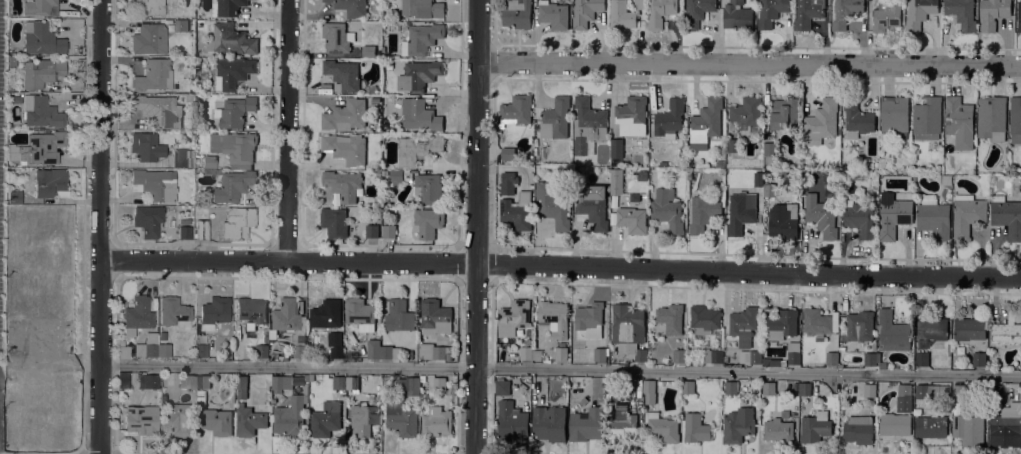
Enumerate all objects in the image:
building: (639, 3)
building: (149, 6)
building: (351, 6)
building: (40, 7)
building: (227, 7)
building: (423, 8)
building: (697, 11)
building: (771, 11)
building: (585, 12)
building: (660, 12)
building: (845, 12)
building: (918, 12)
building: (517, 13)
building: (807, 13)
building: (962, 13)
building: (992, 13)
building: (553, 14)
building: (621, 15)
building: (737, 15)
building: (886, 15)
building: (1019, 16)
building: (181, 25)
building: (337, 37)
building: (42, 38)
building: (421, 38)
building: (149, 39)
building: (231, 39)
road: (737, 46)
building: (368, 51)
building: (12, 61)
building: (197, 65)
road: (749, 65)
building: (233, 71)
building: (41, 72)
building: (342, 74)
building: (418, 74)
building: (154, 75)
building: (371, 89)
road: (493, 92)
building: (190, 97)
building: (53, 98)
building: (375, 99)
building: (516, 109)
building: (158, 110)
building: (41, 111)
building: (234, 111)
building: (746, 113)
building: (785, 113)
building: (345, 115)
building: (421, 115)
building: (631, 115)
building: (894, 115)
building: (927, 117)
building: (992, 117)
building: (555, 118)
building: (669, 119)
building: (857, 119)
building: (1015, 119)
building: (959, 121)
building: (821, 122)
building: (705, 123)
building: (588, 124)
road: (287, 131)
building: (733, 144)
building: (147, 146)
building: (235, 147)
building: (346, 147)
building: (616, 147)
building: (37, 148)
building: (417, 148)
building: (769, 152)
building: (508, 153)
building: (183, 158)
building: (209, 160)
building: (663, 163)
building: (805, 163)
building: (851, 163)
building: (730, 172)
building: (642, 175)
building: (399, 176)
building: (758, 178)
building: (616, 180)
building: (50, 181)
building: (530, 181)
building: (508, 182)
building: (154, 183)
building: (342, 184)
building: (233, 185)
building: (429, 188)
building: (769, 189)
building: (15, 196)
building: (634, 197)
building: (552, 204)
building: (667, 209)
building: (593, 210)
building: (702, 213)
building: (516, 214)
building: (739, 214)
building: (894, 214)
building: (967, 214)
building: (821, 215)
building: (1007, 215)
building: (933, 217)
building: (859, 218)
building: (632, 219)
building: (148, 220)
building: (783, 220)
building: (184, 221)
building: (428, 221)
building: (238, 222)
building: (334, 222)
road: (476, 226)
road: (101, 227)
building: (201, 229)
building: (372, 230)
building: (389, 230)
building: (185, 232)
road: (950, 259)
road: (84, 265)
road: (561, 265)
road: (671, 286)
building: (300, 306)
building: (173, 310)
building: (251, 311)
building: (214, 312)
building: (138, 313)
building: (326, 313)
building: (360, 313)
building: (399, 315)
building: (589, 315)
building: (285, 316)
building: (435, 316)
building: (513, 317)
building: (554, 317)
building: (671, 317)
building: (704, 318)
building: (743, 321)
building: (819, 321)
building: (782, 324)
building: (860, 325)
building: (932, 328)
building: (969, 328)
building: (1007, 329)
building: (629, 330)
building: (266, 331)
building: (892, 331)
building: (163, 335)
building: (266, 338)
building: (528, 342)
building: (147, 346)
building: (373, 348)
building: (163, 350)
building: (201, 350)
building: (262, 350)
building: (299, 351)
building: (336, 351)
building: (390, 351)
building: (434, 351)
building: (793, 351)
building: (526, 352)
building: (122, 353)
building: (536, 353)
building: (560, 353)
building: (599, 353)
building: (679, 355)
building: (713, 355)
building: (750, 356)
building: (308, 357)
building: (832, 357)
building: (870, 358)
building: (922, 358)
building: (978, 358)
building: (783, 363)
building: (882, 365)
road: (560, 367)
road: (458, 371)
building: (306, 377)
building: (310, 377)
building: (124, 379)
building: (148, 381)
building: (188, 381)
building: (282, 381)
building: (351, 382)
building: (439, 383)
building: (408, 384)
building: (611, 384)
building: (241, 385)
building: (502, 386)
building: (688, 386)
building: (731, 387)
building: (769, 387)
building: (202, 388)
building: (805, 388)
building: (870, 389)
building: (649, 390)
building: (932, 390)
building: (959, 390)
building: (996, 391)
building: (903, 397)
building: (365, 398)
building: (329, 412)
building: (785, 413)
building: (290, 416)
building: (178, 418)
building: (401, 418)
building: (363, 419)
building: (142, 420)
building: (217, 421)
building: (249, 421)
building: (436, 421)
building: (511, 421)
building: (549, 422)
building: (894, 423)
building: (586, 424)
building: (738, 424)
building: (622, 425)
building: (931, 425)
building: (1006, 425)
building: (347, 426)
building: (662, 426)
building: (815, 426)
building: (695, 427)
building: (968, 428)
building: (858, 429)
building: (778, 430)
road: (82, 451)
road: (99, 453)
road: (159, 453)

